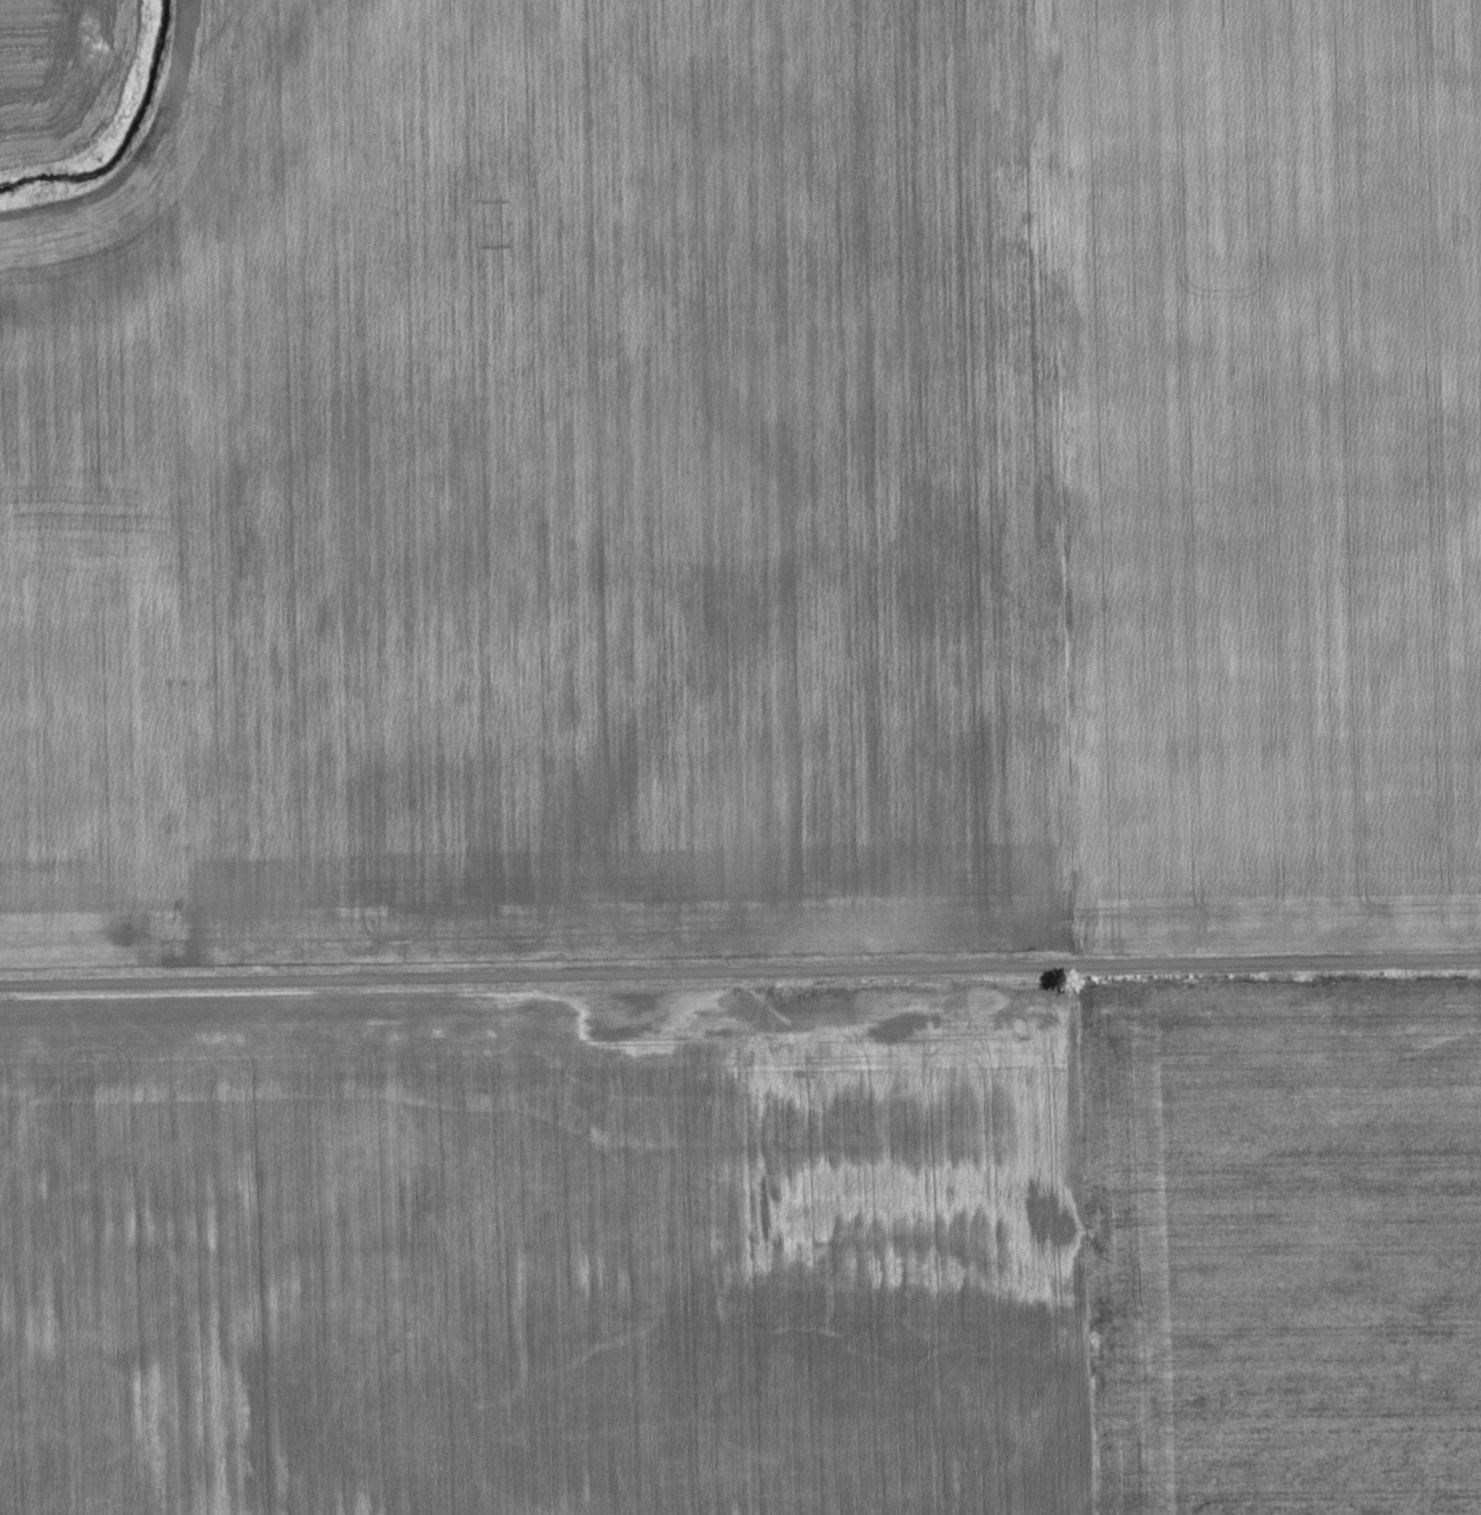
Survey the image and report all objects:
road: (740, 971)

